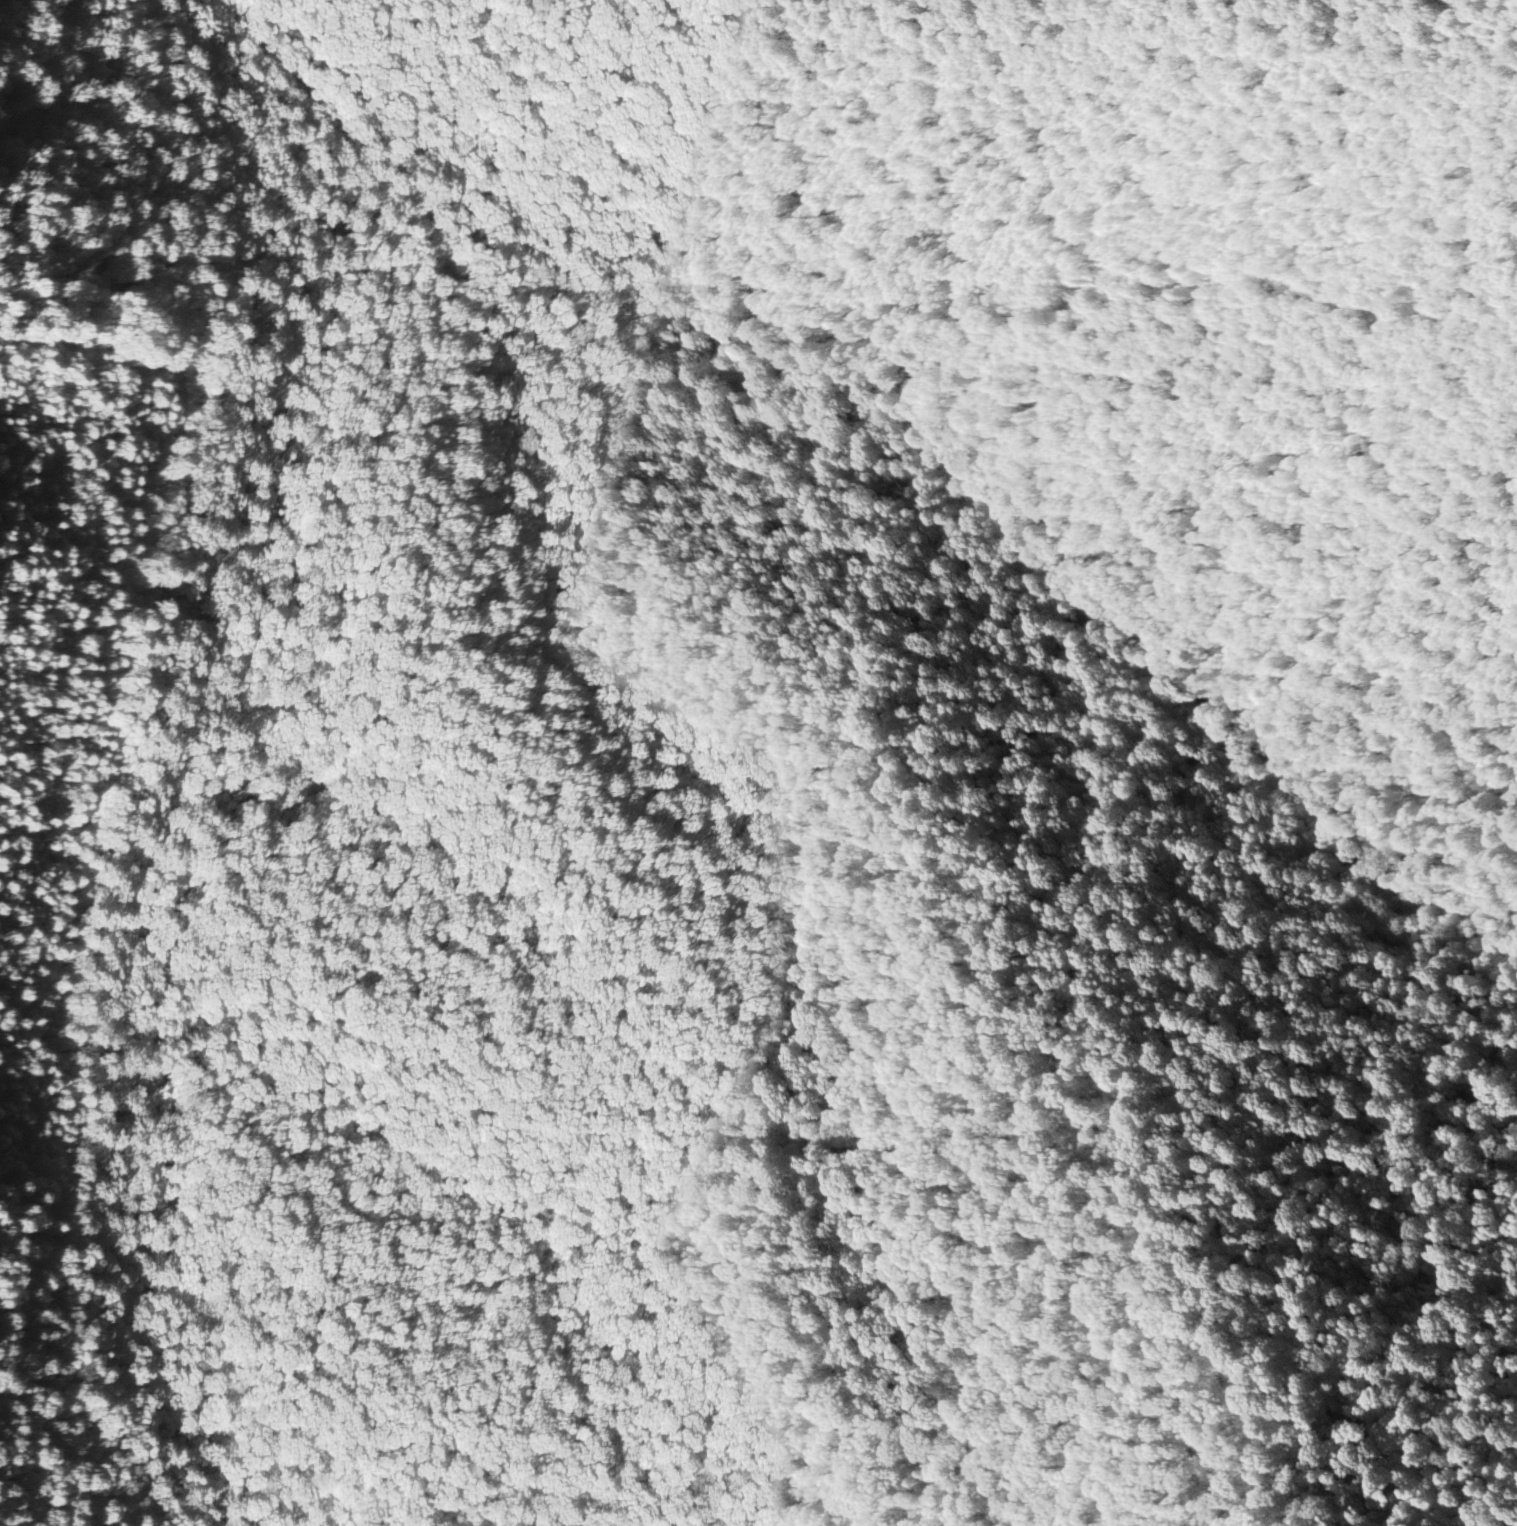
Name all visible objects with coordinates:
road: (1278, 1492)

